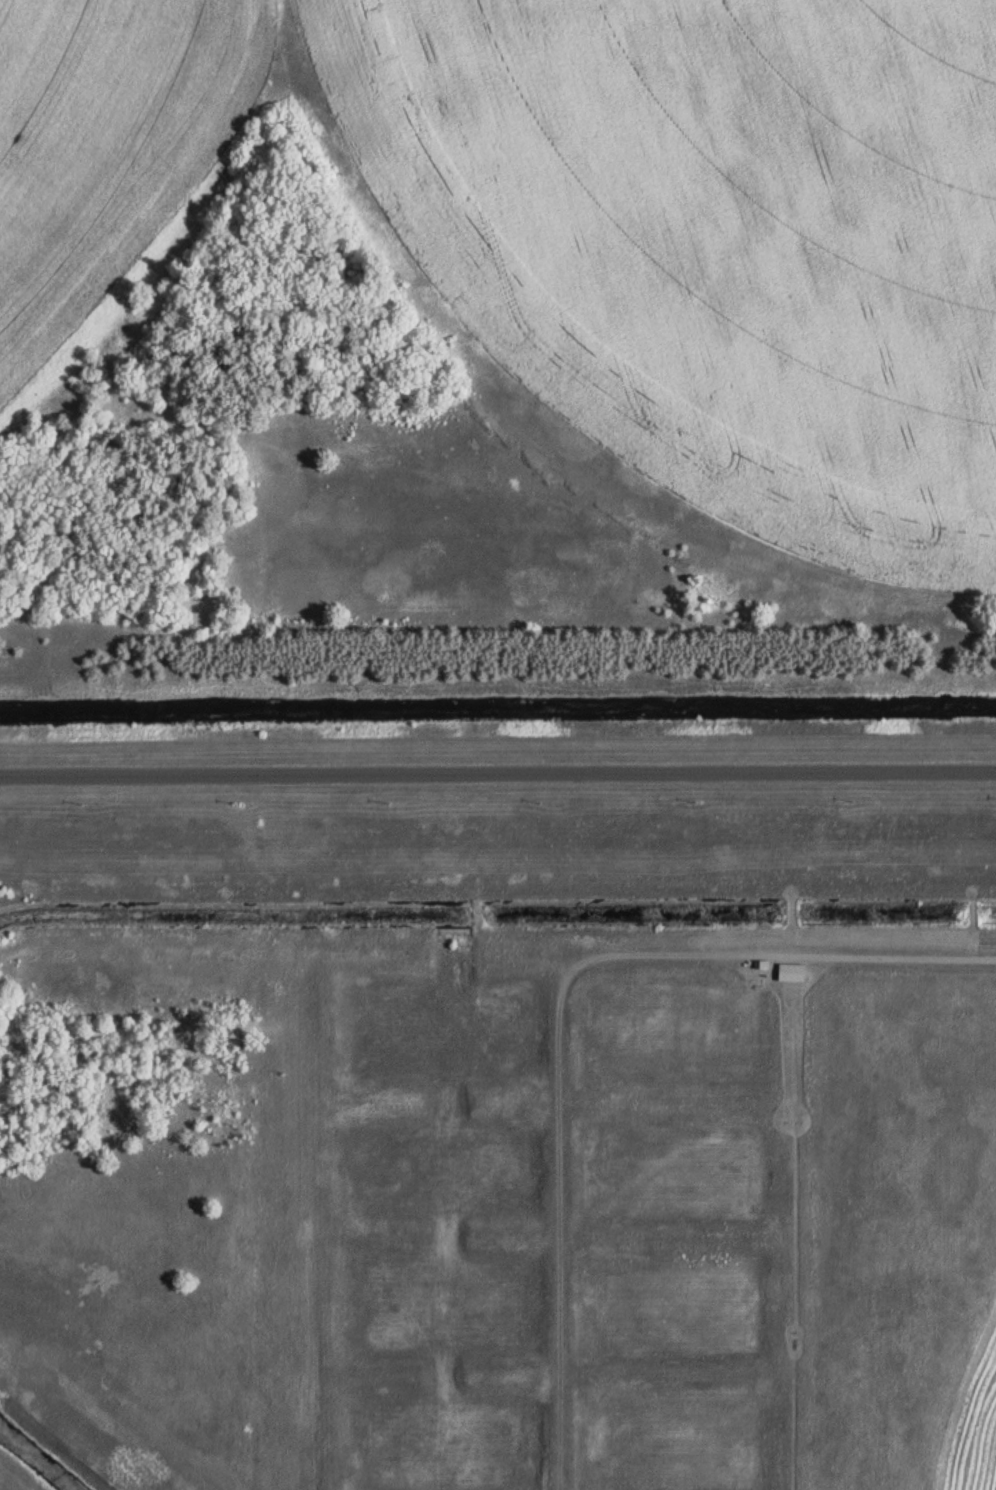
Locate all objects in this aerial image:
wastewater plant: (498, 745)
road: (498, 772)
road: (895, 953)

